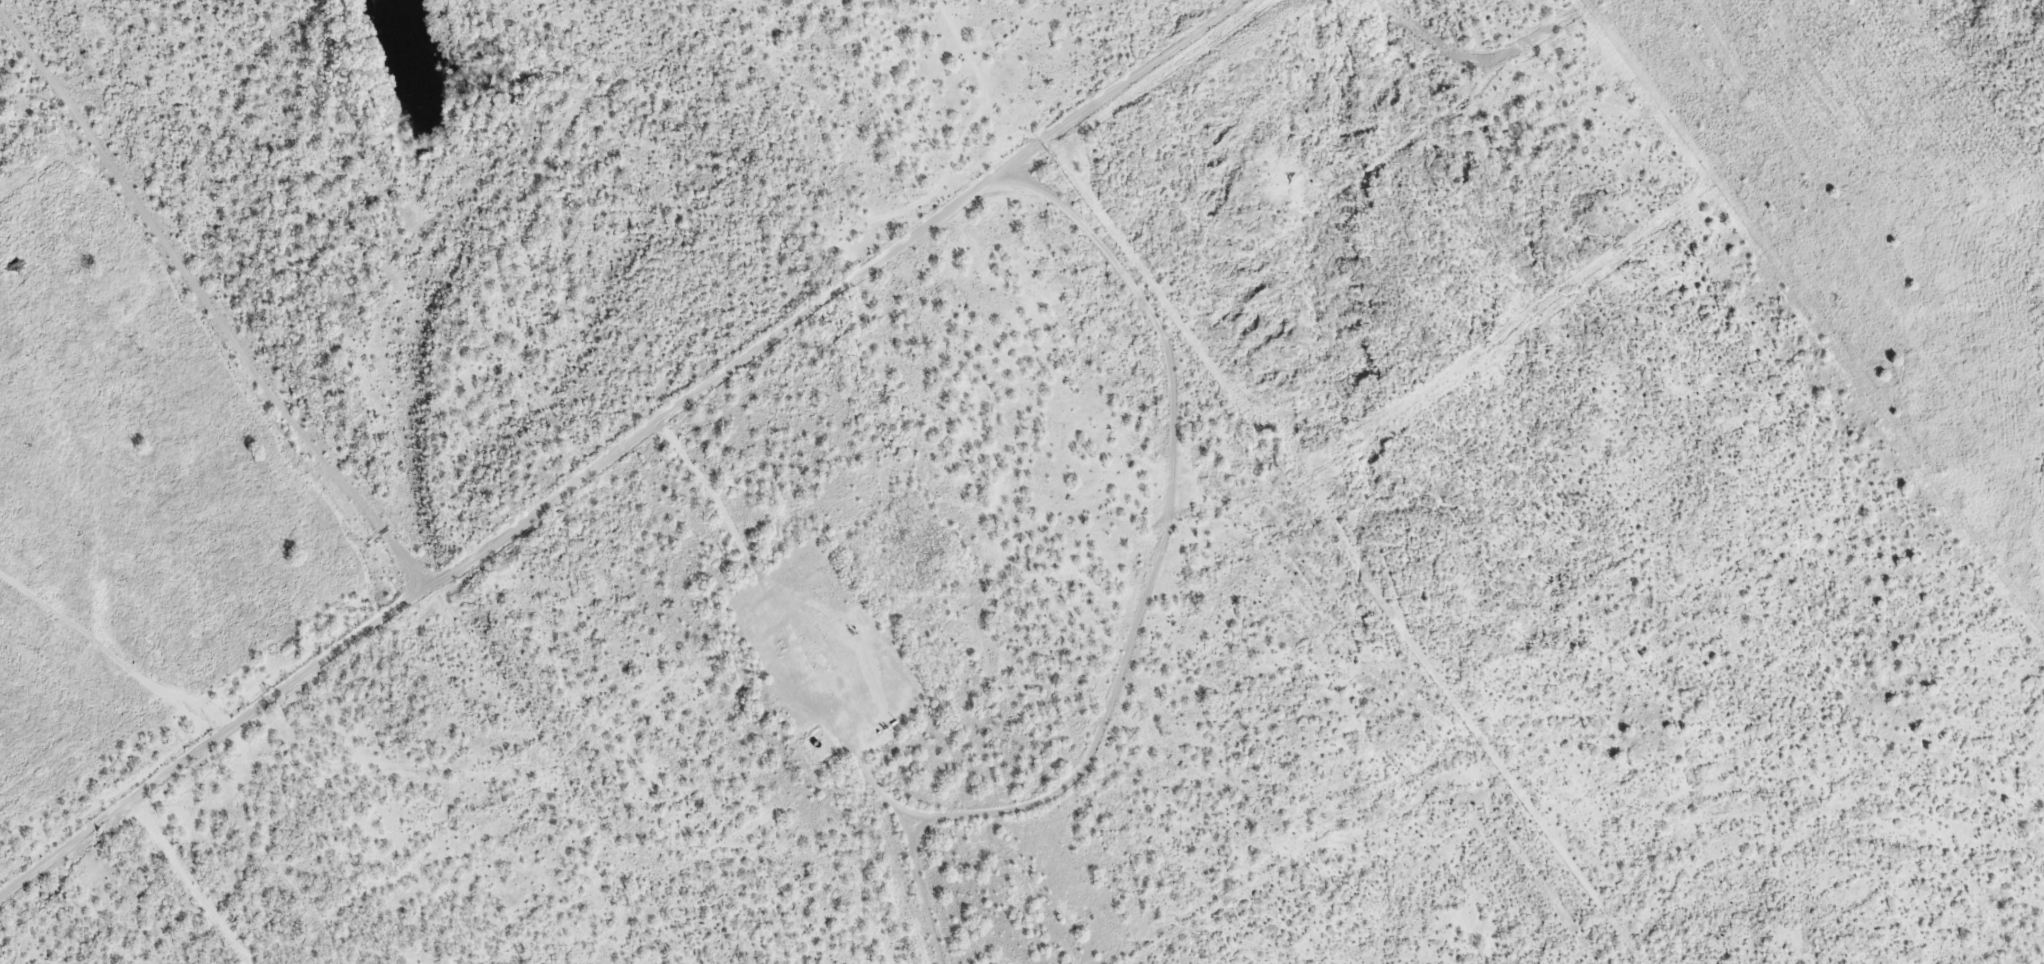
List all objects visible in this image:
road: (1007, 196)
road: (442, 556)

